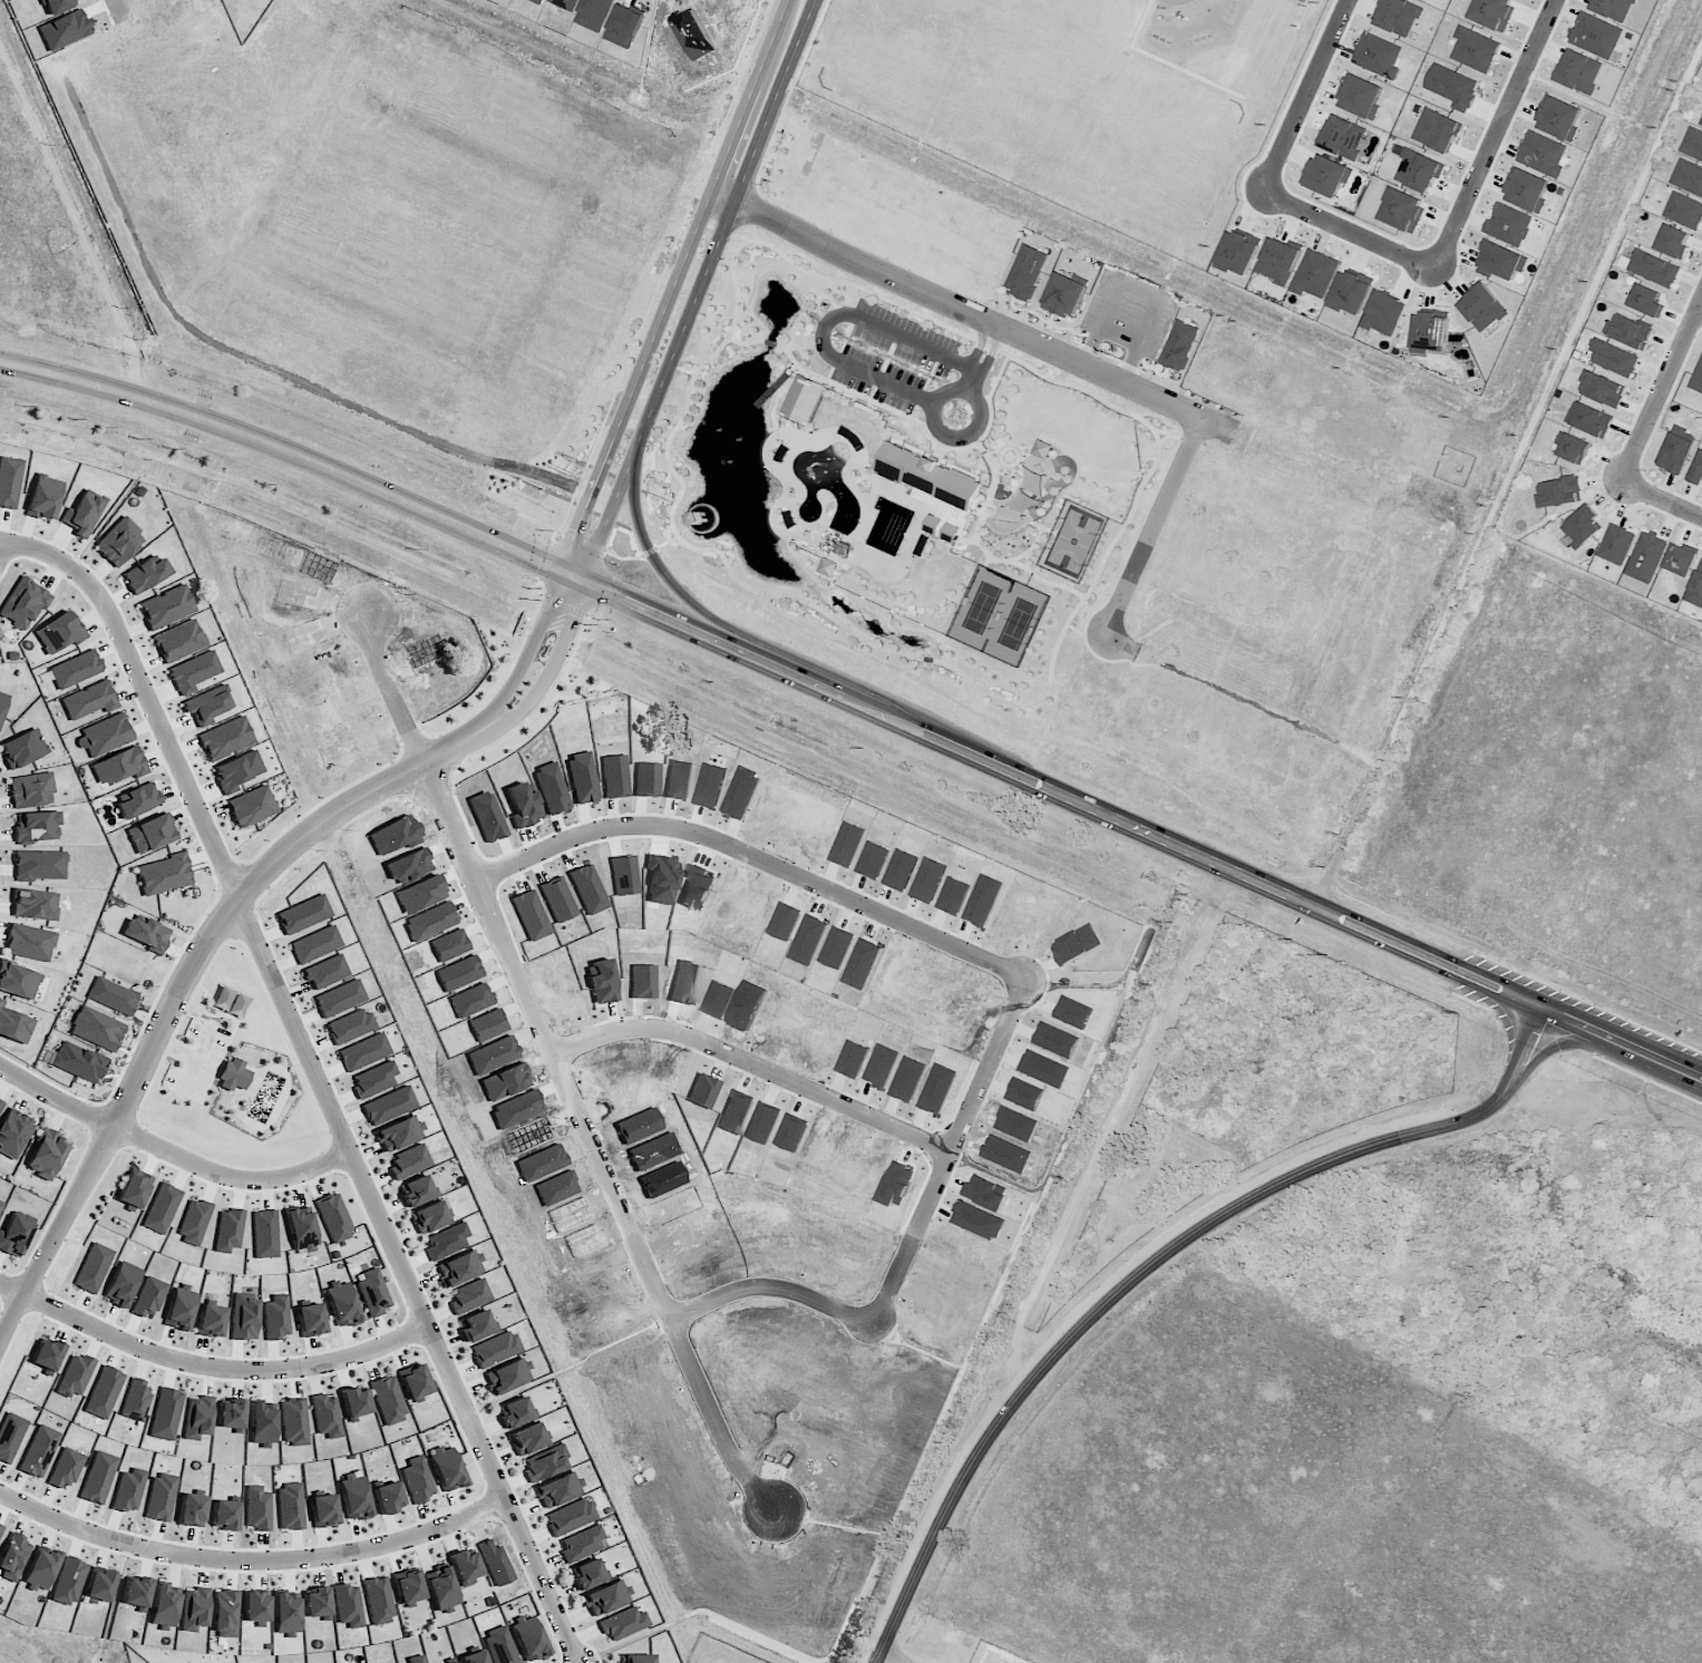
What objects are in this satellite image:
road: (126, 0)
building: (1612, 8)
road: (130, 12)
building: (1492, 12)
building: (1399, 16)
building: (1596, 35)
road: (373, 45)
building: (1475, 49)
building: (1378, 55)
building: (1579, 71)
building: (1452, 86)
road: (1302, 94)
building: (1360, 96)
building: (1559, 117)
building: (1700, 123)
building: (1437, 130)
road: (1491, 133)
building: (1343, 136)
building: (1692, 144)
road: (473, 146)
building: (1544, 153)
building: (1419, 171)
building: (1326, 175)
building: (1688, 177)
building: (1527, 189)
building: (1402, 210)
building: (1684, 210)
building: (1510, 223)
road: (1345, 227)
building: (1674, 241)
road: (270, 252)
building: (1237, 252)
building: (1278, 260)
building: (1501, 261)
building: (1654, 268)
building: (1027, 271)
building: (1315, 273)
road: (1141, 285)
road: (553, 286)
road: (690, 290)
building: (1350, 292)
road: (712, 293)
building: (1064, 295)
building: (1646, 300)
building: (1482, 308)
road: (1700, 309)
building: (1383, 313)
road: (986, 322)
building: (1628, 330)
building: (1430, 331)
building: (1179, 346)
building: (1614, 357)
road: (838, 359)
building: (1696, 378)
building: (1602, 388)
road: (1661, 391)
building: (804, 399)
building: (1589, 418)
road: (964, 435)
building: (1573, 447)
building: (1042, 449)
road: (1524, 450)
building: (1675, 454)
road: (1324, 469)
building: (1698, 470)
building: (9, 482)
building: (934, 488)
building: (1029, 488)
building: (1558, 492)
building: (43, 497)
road: (1661, 499)
building: (84, 513)
building: (702, 518)
building: (1582, 525)
road: (1165, 534)
building: (118, 543)
building: (1616, 544)
building: (1646, 556)
building: (1681, 558)
building: (829, 567)
building: (144, 575)
road: (675, 577)
traffic signals: (574, 580)
traffic signals: (595, 587)
building: (1695, 587)
road: (607, 593)
building: (23, 603)
building: (166, 607)
road: (1351, 614)
building: (61, 630)
building: (178, 641)
road: (1131, 650)
road: (544, 654)
road: (567, 669)
road: (1226, 693)
building: (89, 700)
building: (2, 702)
building: (205, 706)
building: (106, 735)
building: (224, 739)
building: (22, 749)
building: (118, 766)
building: (30, 790)
building: (138, 800)
building: (251, 806)
building: (37, 827)
building: (149, 834)
road: (769, 863)
building: (39, 865)
building: (163, 875)
road: (1329, 876)
building: (35, 905)
building: (303, 914)
building: (146, 934)
building: (29, 943)
building: (459, 950)
road: (1452, 967)
road: (187, 976)
building: (469, 978)
building: (18, 980)
building: (654, 985)
building: (697, 985)
building: (729, 1002)
building: (482, 1004)
road: (1510, 1020)
building: (13, 1025)
building: (96, 1029)
building: (499, 1030)
road: (1557, 1042)
road: (178, 1050)
building: (504, 1060)
parking lot: (200, 1061)
building: (78, 1062)
road: (573, 1072)
road: (767, 1072)
building: (233, 1076)
road: (315, 1076)
park: (234, 1077)
water park: (256, 1091)
building: (714, 1093)
building: (0, 1102)
building: (749, 1116)
road: (1112, 1127)
building: (13, 1132)
building: (399, 1134)
road: (169, 1150)
building: (46, 1155)
building: (409, 1161)
building: (134, 1189)
building: (415, 1192)
building: (1, 1204)
building: (428, 1217)
building: (333, 1218)
building: (301, 1229)
building: (227, 1231)
building: (14, 1237)
building: (446, 1242)
road: (918, 1254)
road: (1149, 1264)
building: (458, 1268)
road: (14, 1290)
building: (372, 1293)
building: (148, 1296)
building: (469, 1296)
building: (341, 1303)
building: (181, 1307)
building: (244, 1317)
building: (275, 1317)
building: (310, 1320)
building: (211, 1321)
building: (477, 1325)
building: (496, 1349)
building: (46, 1354)
road: (225, 1364)
building: (75, 1375)
building: (507, 1377)
building: (414, 1382)
building: (103, 1392)
building: (388, 1400)
building: (135, 1401)
building: (354, 1401)
building: (514, 1412)
building: (165, 1414)
building: (230, 1414)
building: (325, 1416)
building: (197, 1418)
building: (293, 1422)
building: (262, 1424)
building: (527, 1439)
building: (38, 1451)
building: (544, 1463)
building: (66, 1469)
building: (446, 1469)
building: (98, 1478)
building: (417, 1480)
building: (128, 1490)
building: (558, 1490)
building: (388, 1496)
building: (161, 1497)
building: (354, 1497)
building: (290, 1506)
building: (256, 1509)
building: (191, 1510)
building: (323, 1510)
building: (224, 1515)
building: (571, 1517)
building: (0, 1529)
building: (581, 1544)
road: (253, 1554)
building: (13, 1556)
building: (464, 1567)
building: (40, 1568)
building: (586, 1575)
building: (68, 1582)
building: (99, 1584)
building: (407, 1587)
building: (440, 1587)
building: (136, 1592)
building: (606, 1598)
building: (378, 1601)
building: (315, 1602)
building: (348, 1605)
building: (164, 1607)
building: (255, 1608)
building: (194, 1609)
building: (225, 1614)
building: (286, 1614)
building: (623, 1624)
building: (528, 1638)
building: (500, 1645)
road: (893, 1656)
building: (473, 1657)
building: (635, 1659)
building: (416, 1660)
building: (454, 1662)

